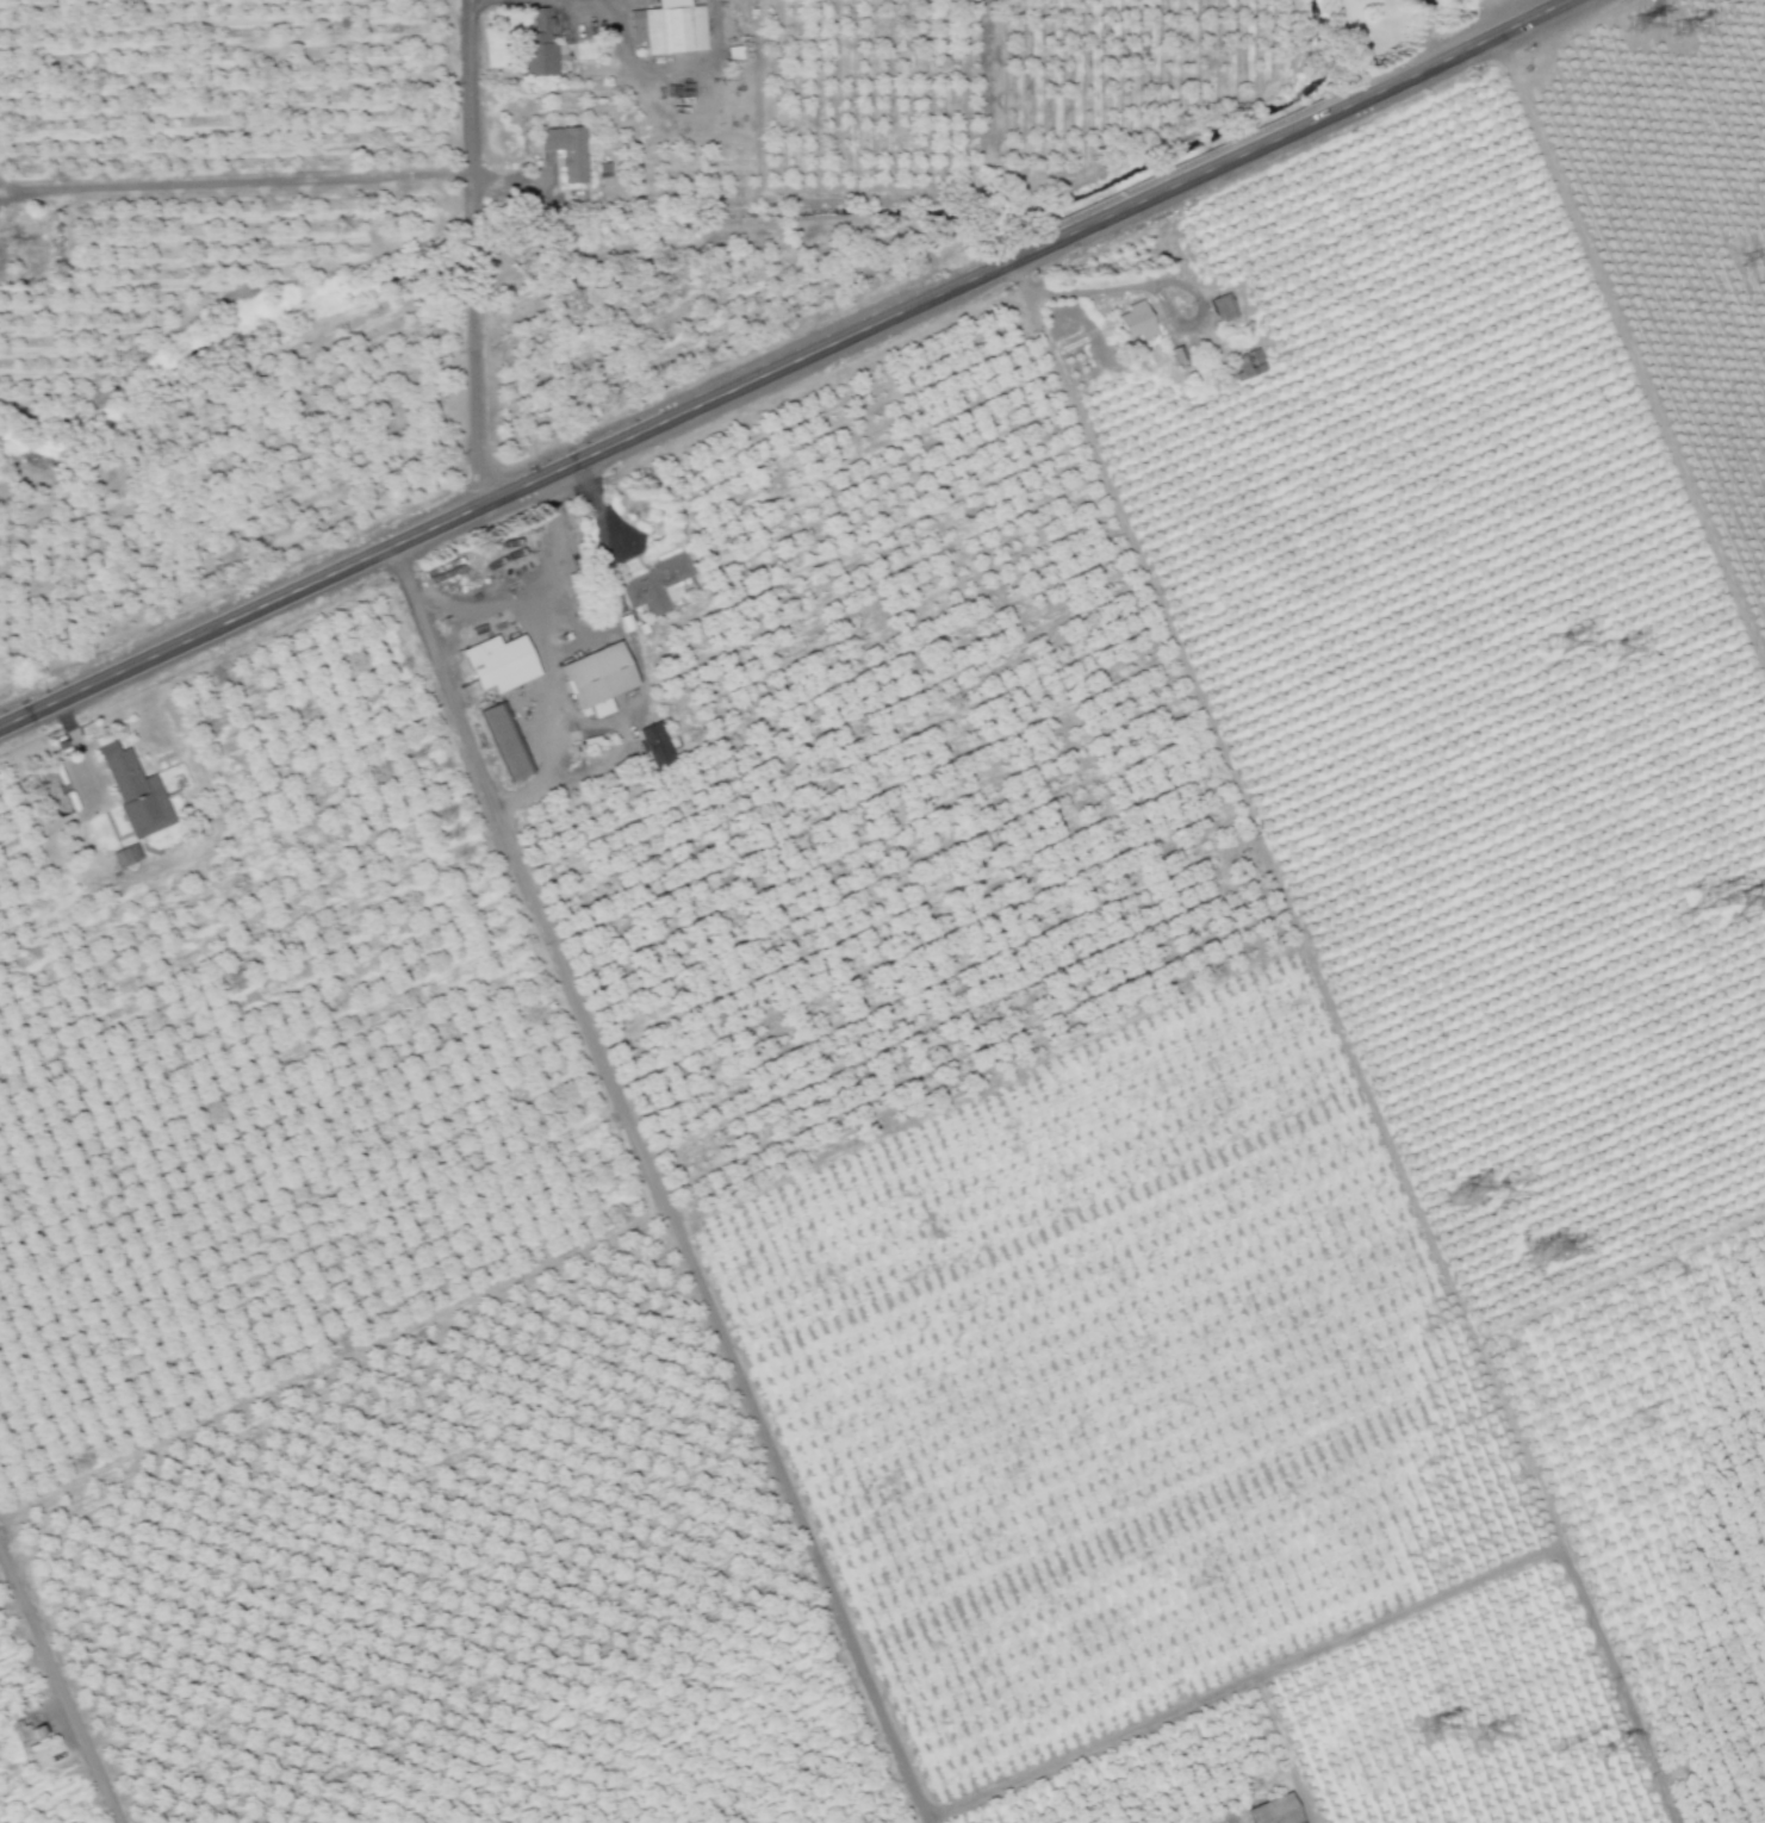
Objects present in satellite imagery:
road: (476, 2)
road: (582, 4)
road: (614, 8)
road: (1424, 27)
building: (670, 29)
power tower: (1629, 29)
power tower: (1678, 30)
building: (533, 46)
road: (673, 70)
road: (470, 114)
building: (568, 153)
road: (240, 180)
road: (471, 259)
building: (30, 261)
power tower: (1761, 261)
building: (1, 269)
road: (1139, 286)
building: (1218, 307)
building: (1131, 322)
building: (1244, 363)
road: (779, 368)
road: (474, 393)
building: (655, 585)
road: (532, 589)
power tower: (1555, 646)
power tower: (1610, 653)
building: (501, 664)
building: (601, 679)
building: (506, 742)
building: (650, 743)
road: (87, 779)
building: (130, 791)
building: (123, 855)
power tower: (1711, 903)
road: (658, 1178)
power tower: (1460, 1190)
power tower: (1497, 1194)
power tower: (1547, 1251)
road: (1378, 1619)
road: (58, 1688)
power tower: (1424, 1726)
power tower: (1479, 1735)
road: (1280, 1749)
power tower: (1577, 1750)
building: (1272, 1811)
road: (933, 1815)
building: (1297, 1822)

